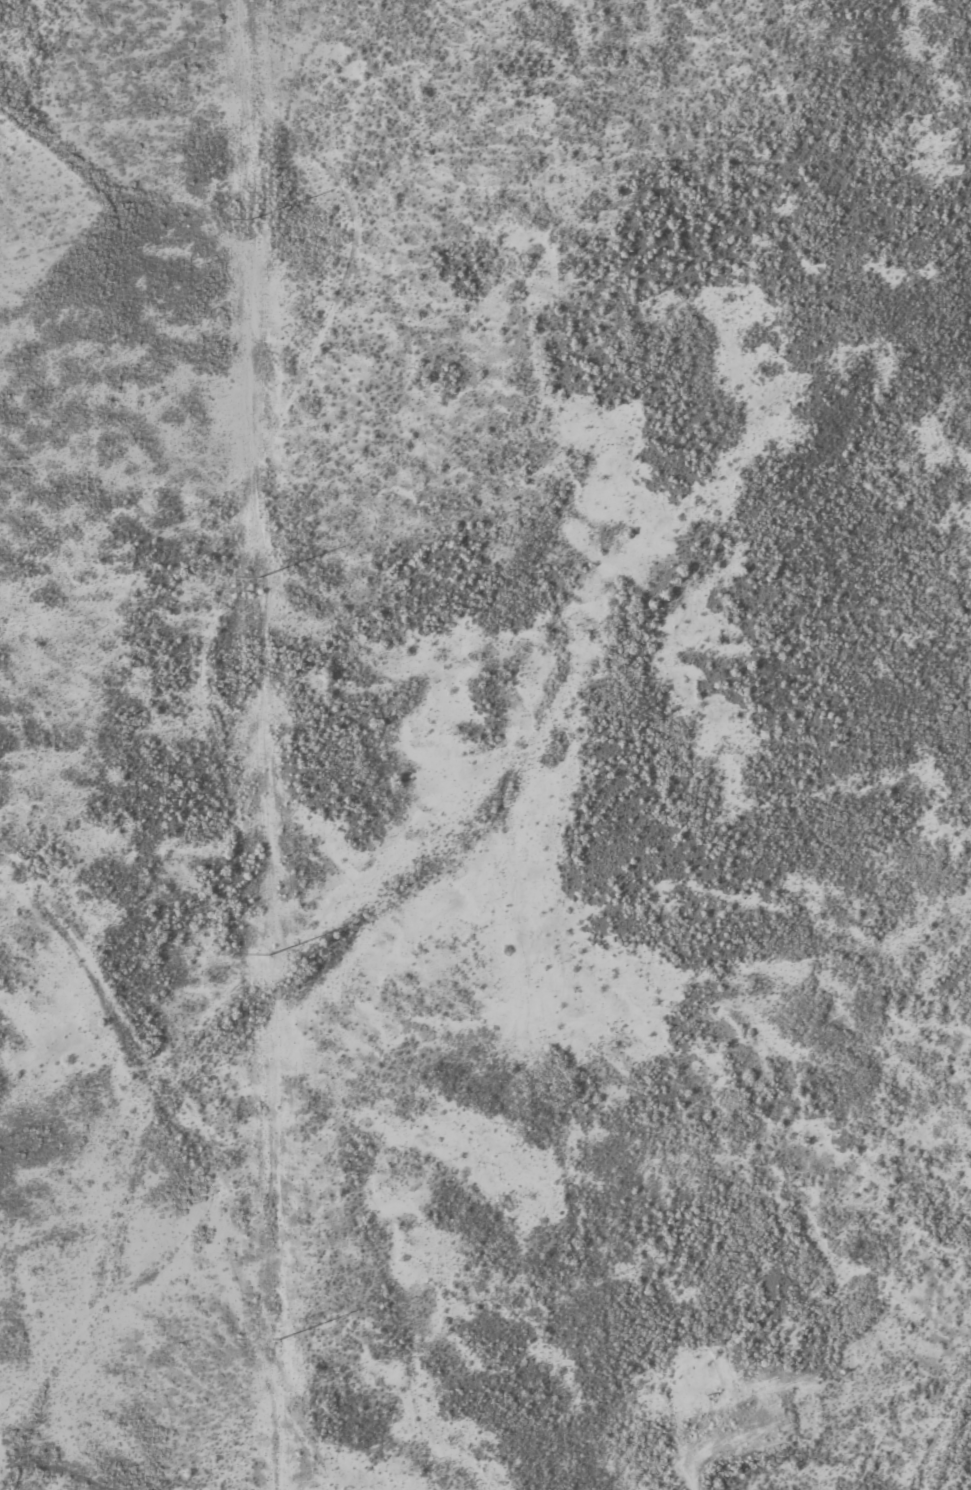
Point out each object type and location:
power tower: (250, 221)
power tower: (259, 578)
power tower: (269, 956)
road: (210, 1164)
power tower: (279, 1341)

